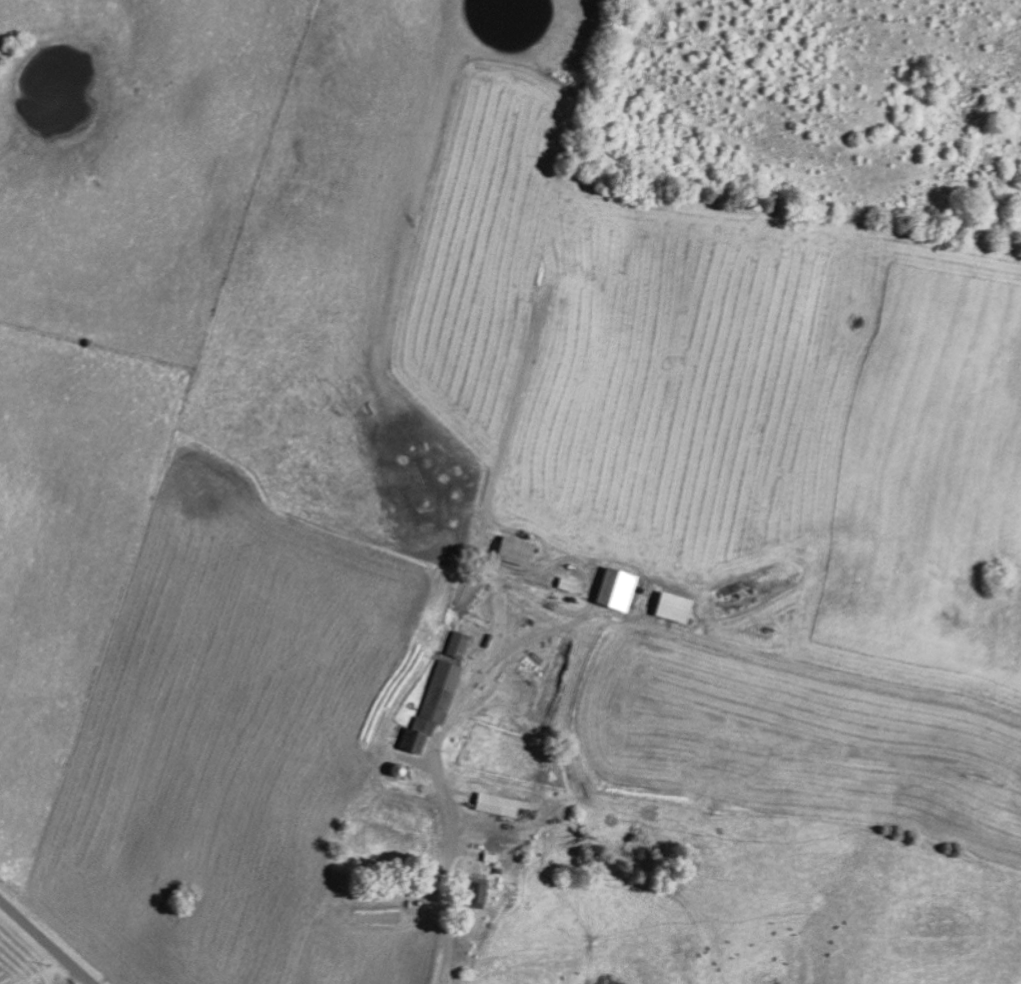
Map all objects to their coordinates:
building: (509, 550)
building: (563, 583)
building: (611, 589)
building: (667, 606)
building: (455, 644)
building: (431, 702)
building: (492, 804)
building: (470, 894)
road: (450, 920)
road: (43, 943)

